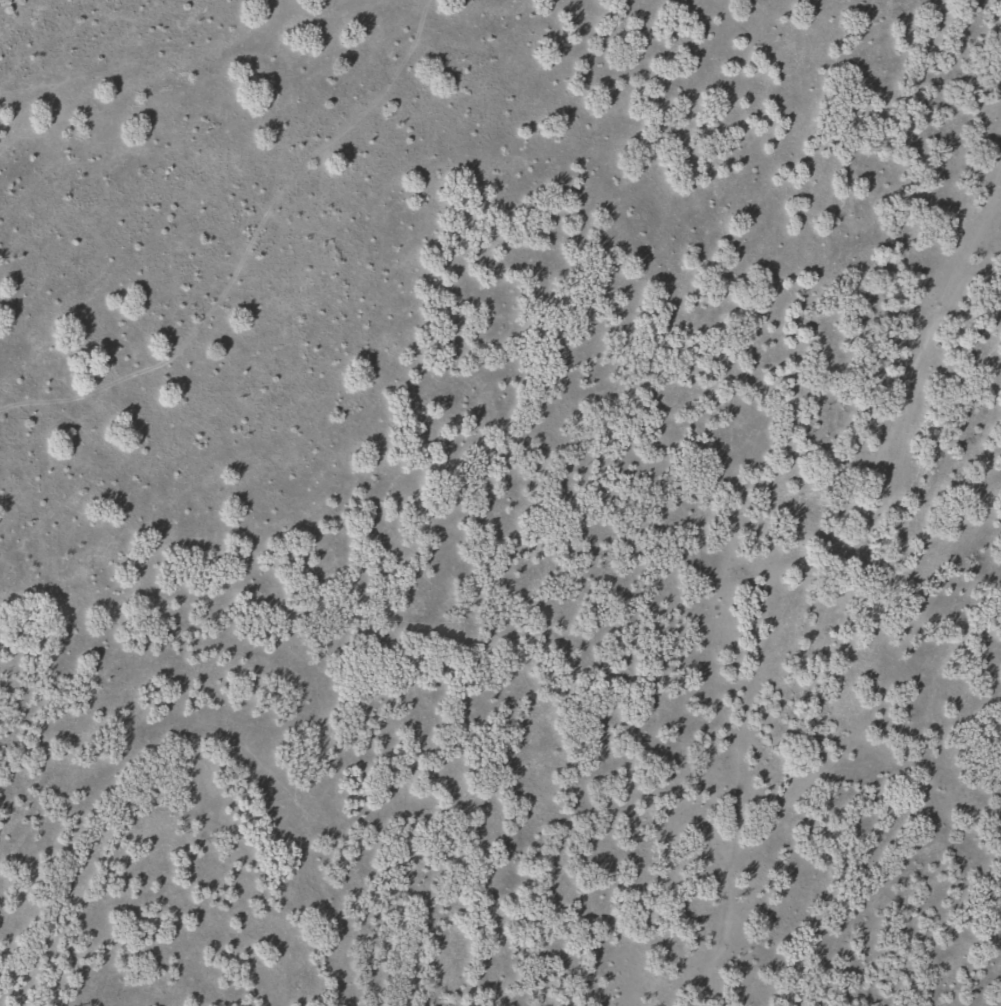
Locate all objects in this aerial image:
road: (885, 791)

